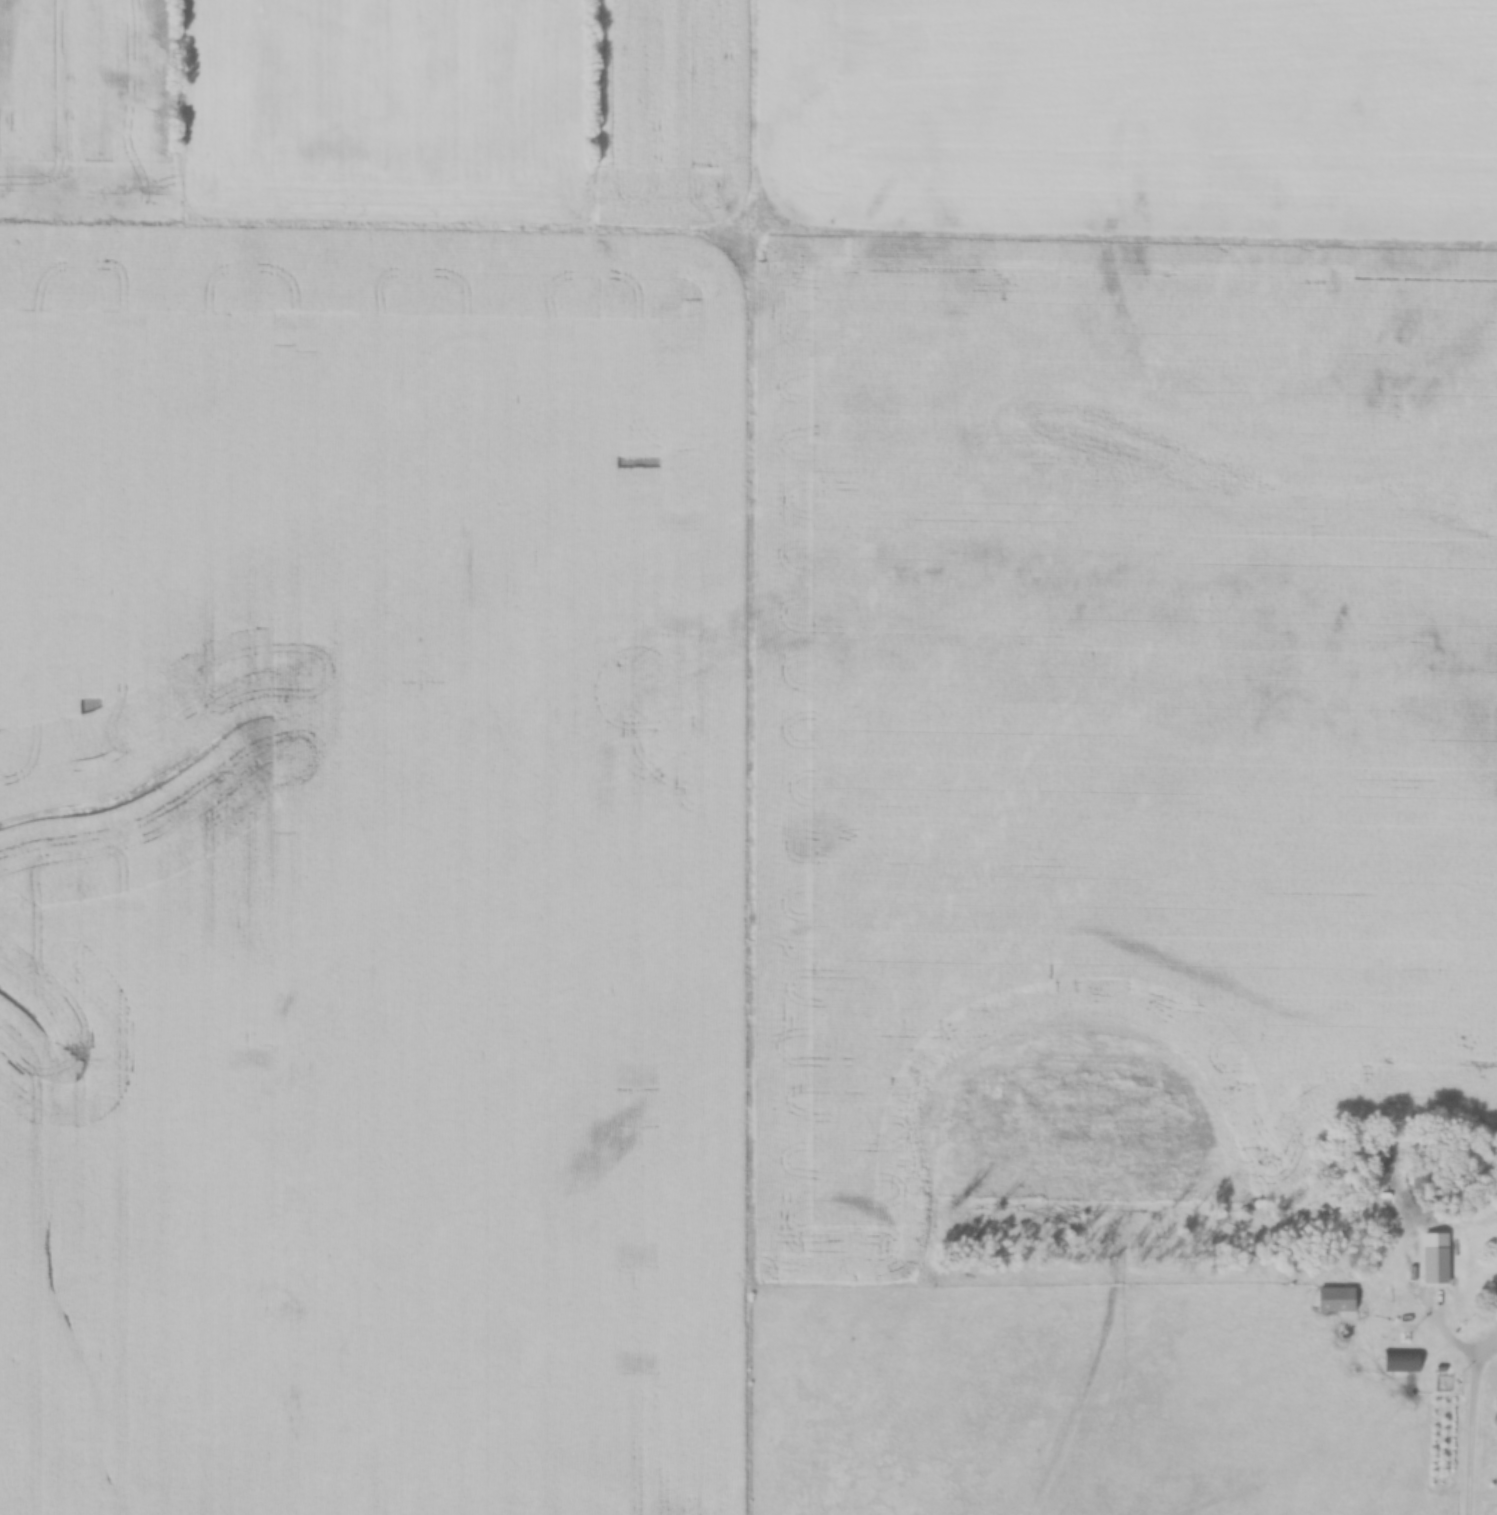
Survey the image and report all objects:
building: (1434, 1264)
building: (1494, 1290)
building: (1335, 1298)
building: (1399, 1360)
road: (1461, 1402)
building: (1494, 1405)

